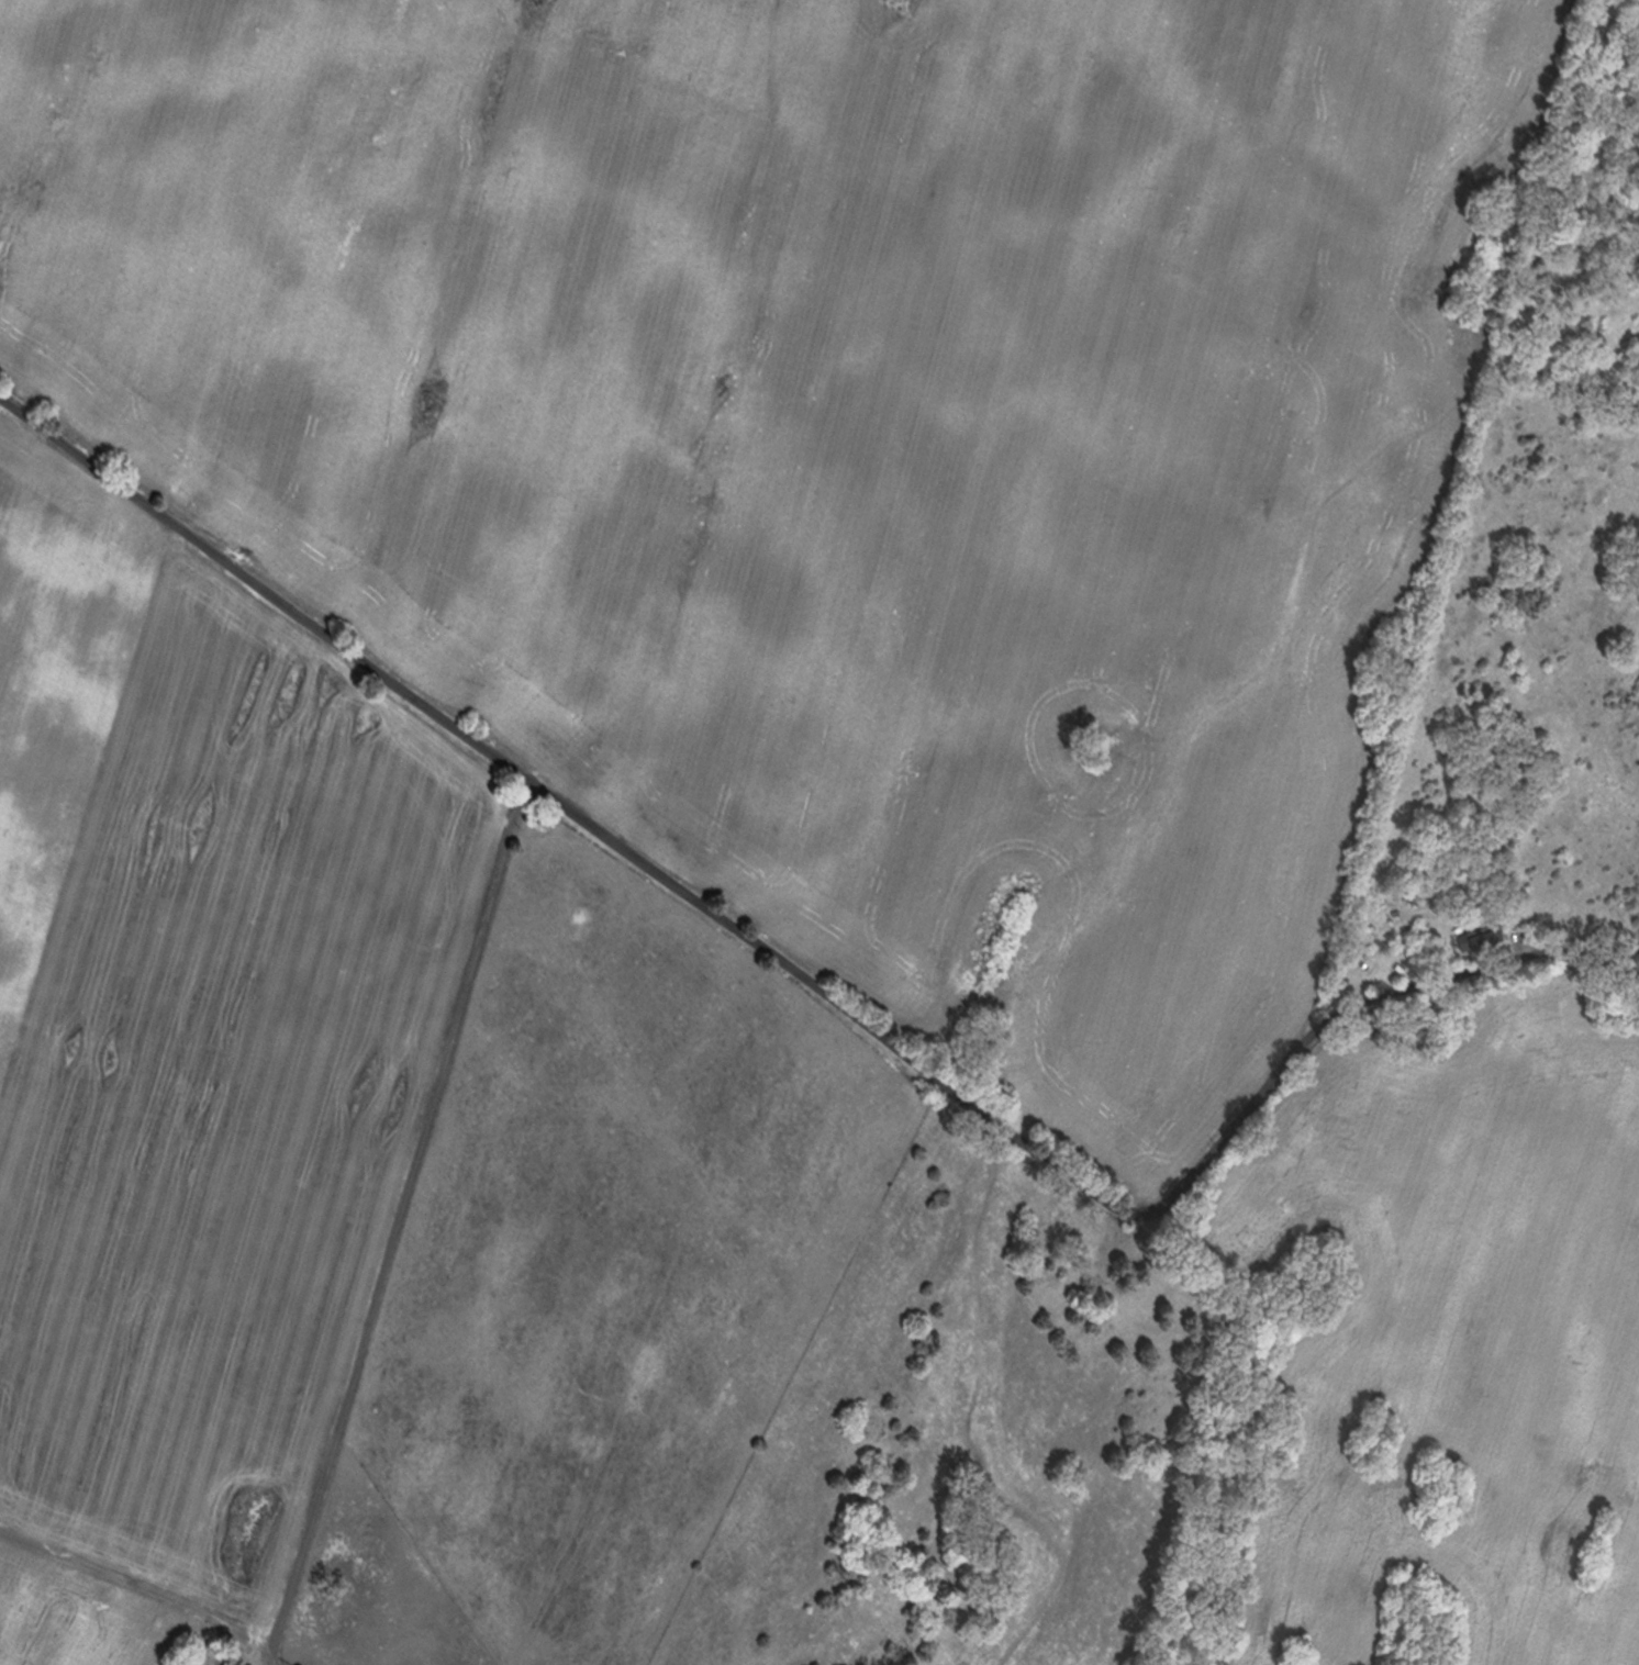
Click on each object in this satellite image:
road: (795, 995)
road: (397, 1223)

